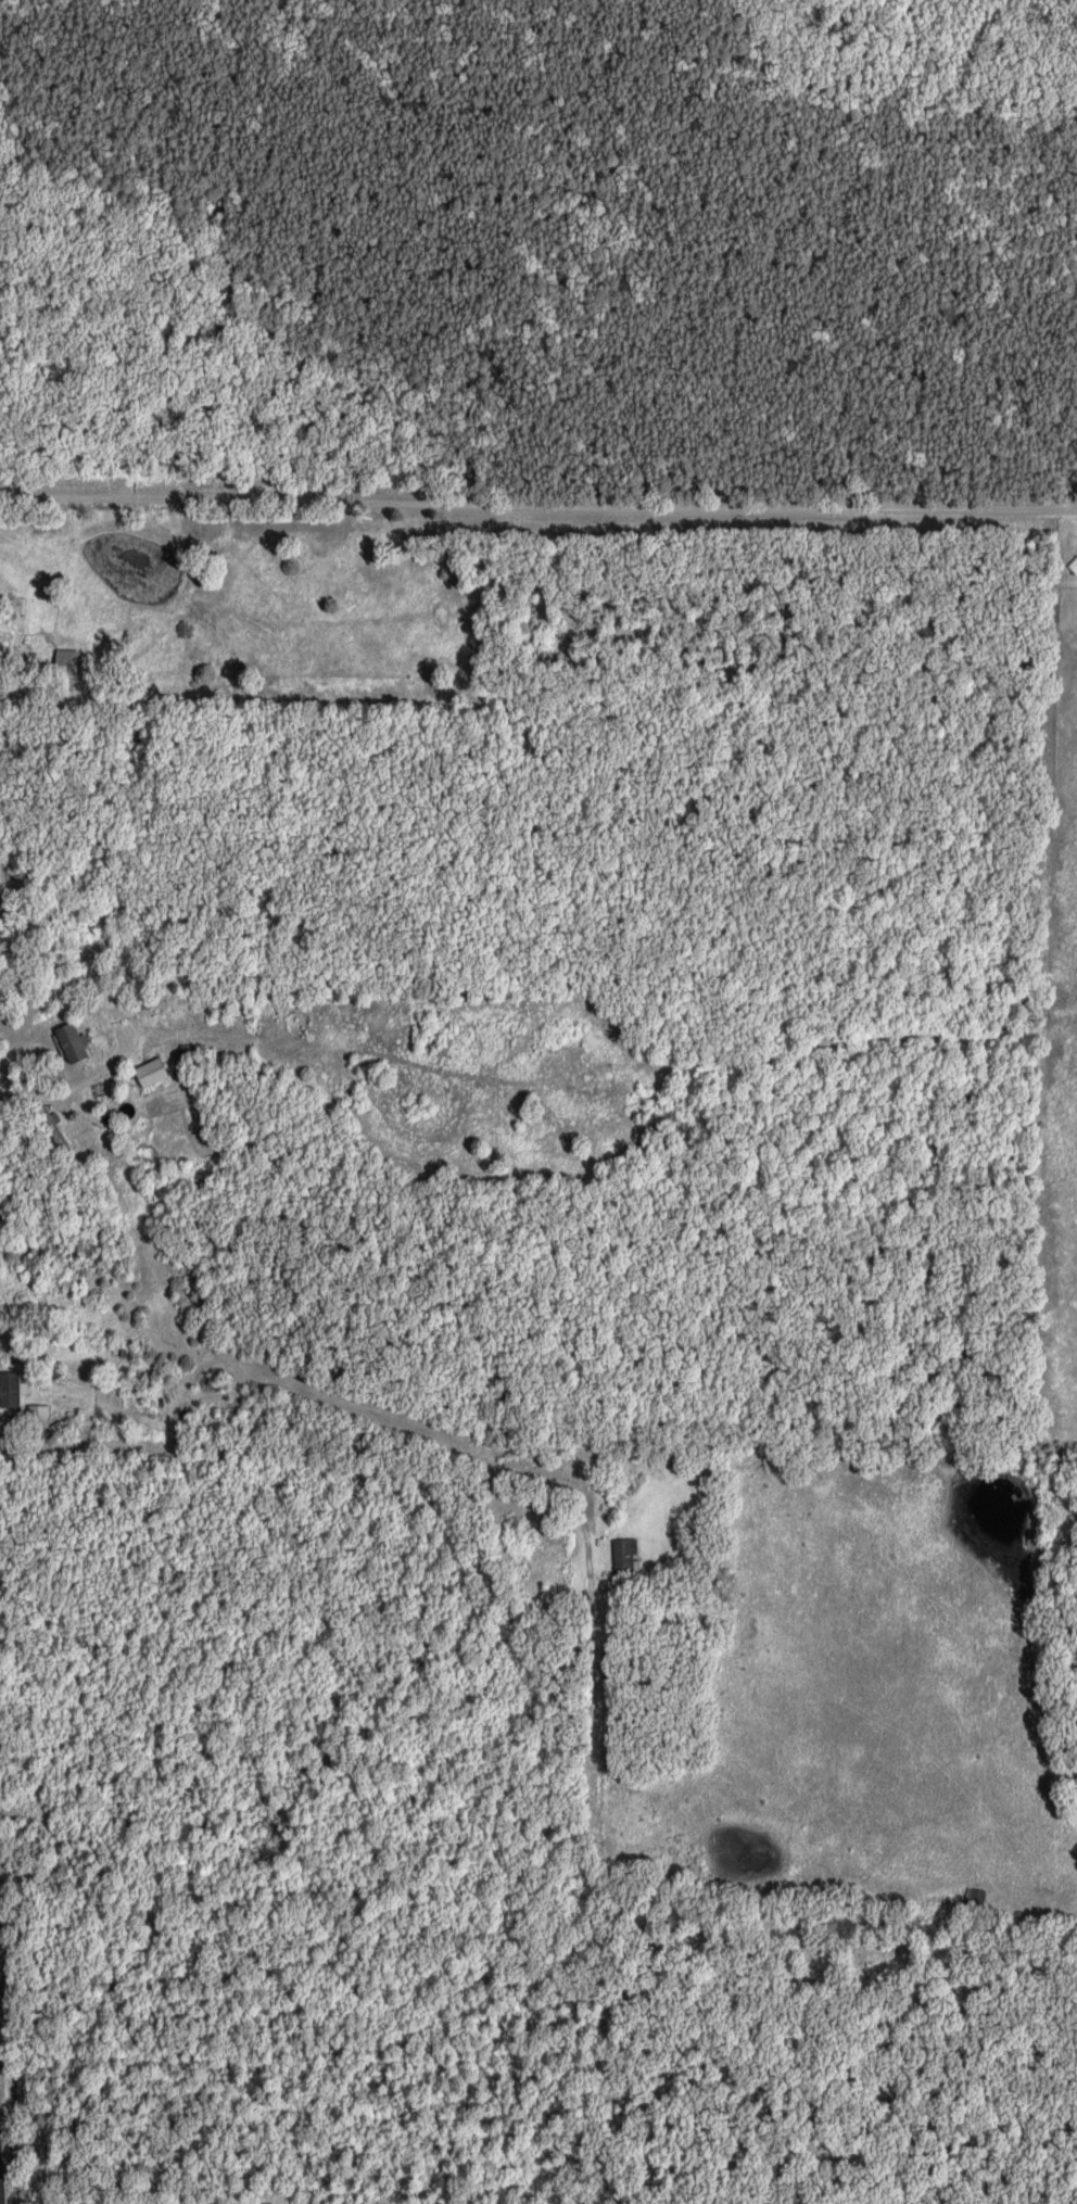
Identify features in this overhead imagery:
road: (537, 504)
building: (83, 1040)
building: (162, 1069)
road: (325, 1452)

